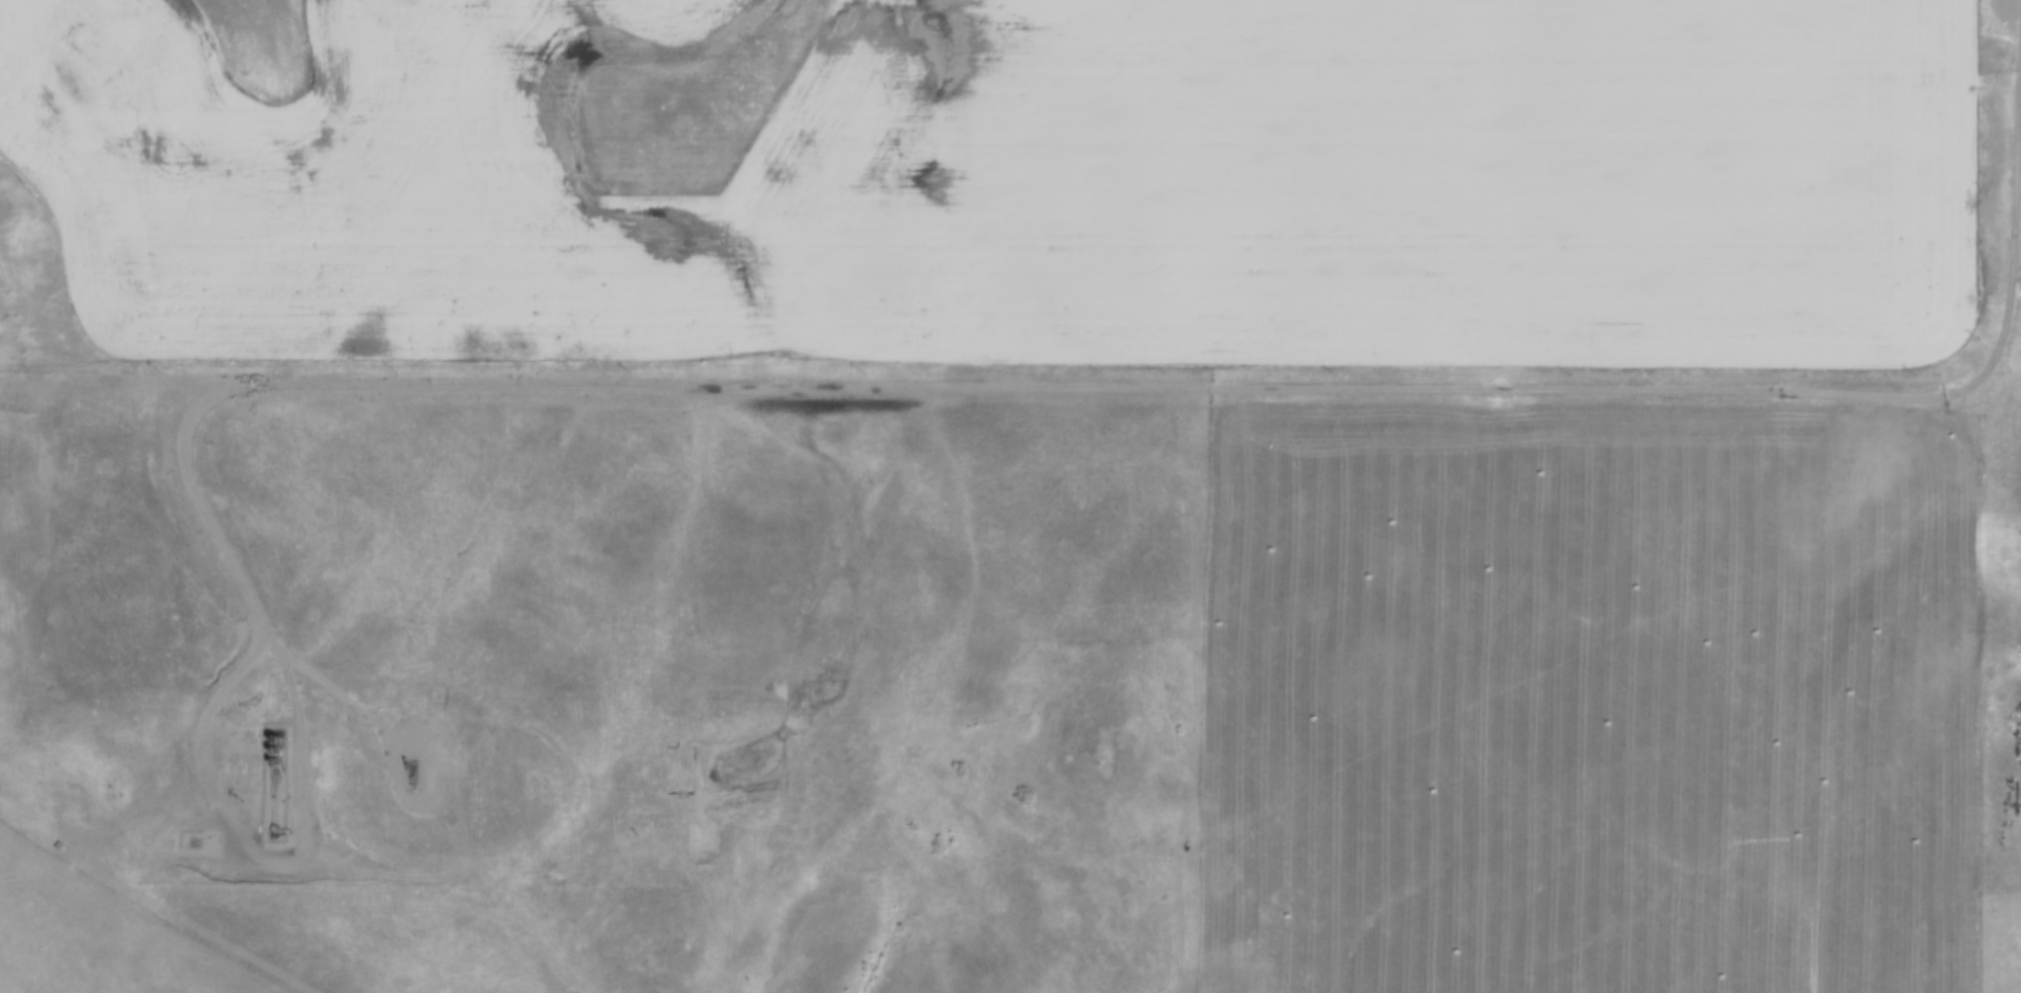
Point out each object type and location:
road: (2018, 144)
road: (2012, 198)
road: (117, 378)
road: (1113, 391)

